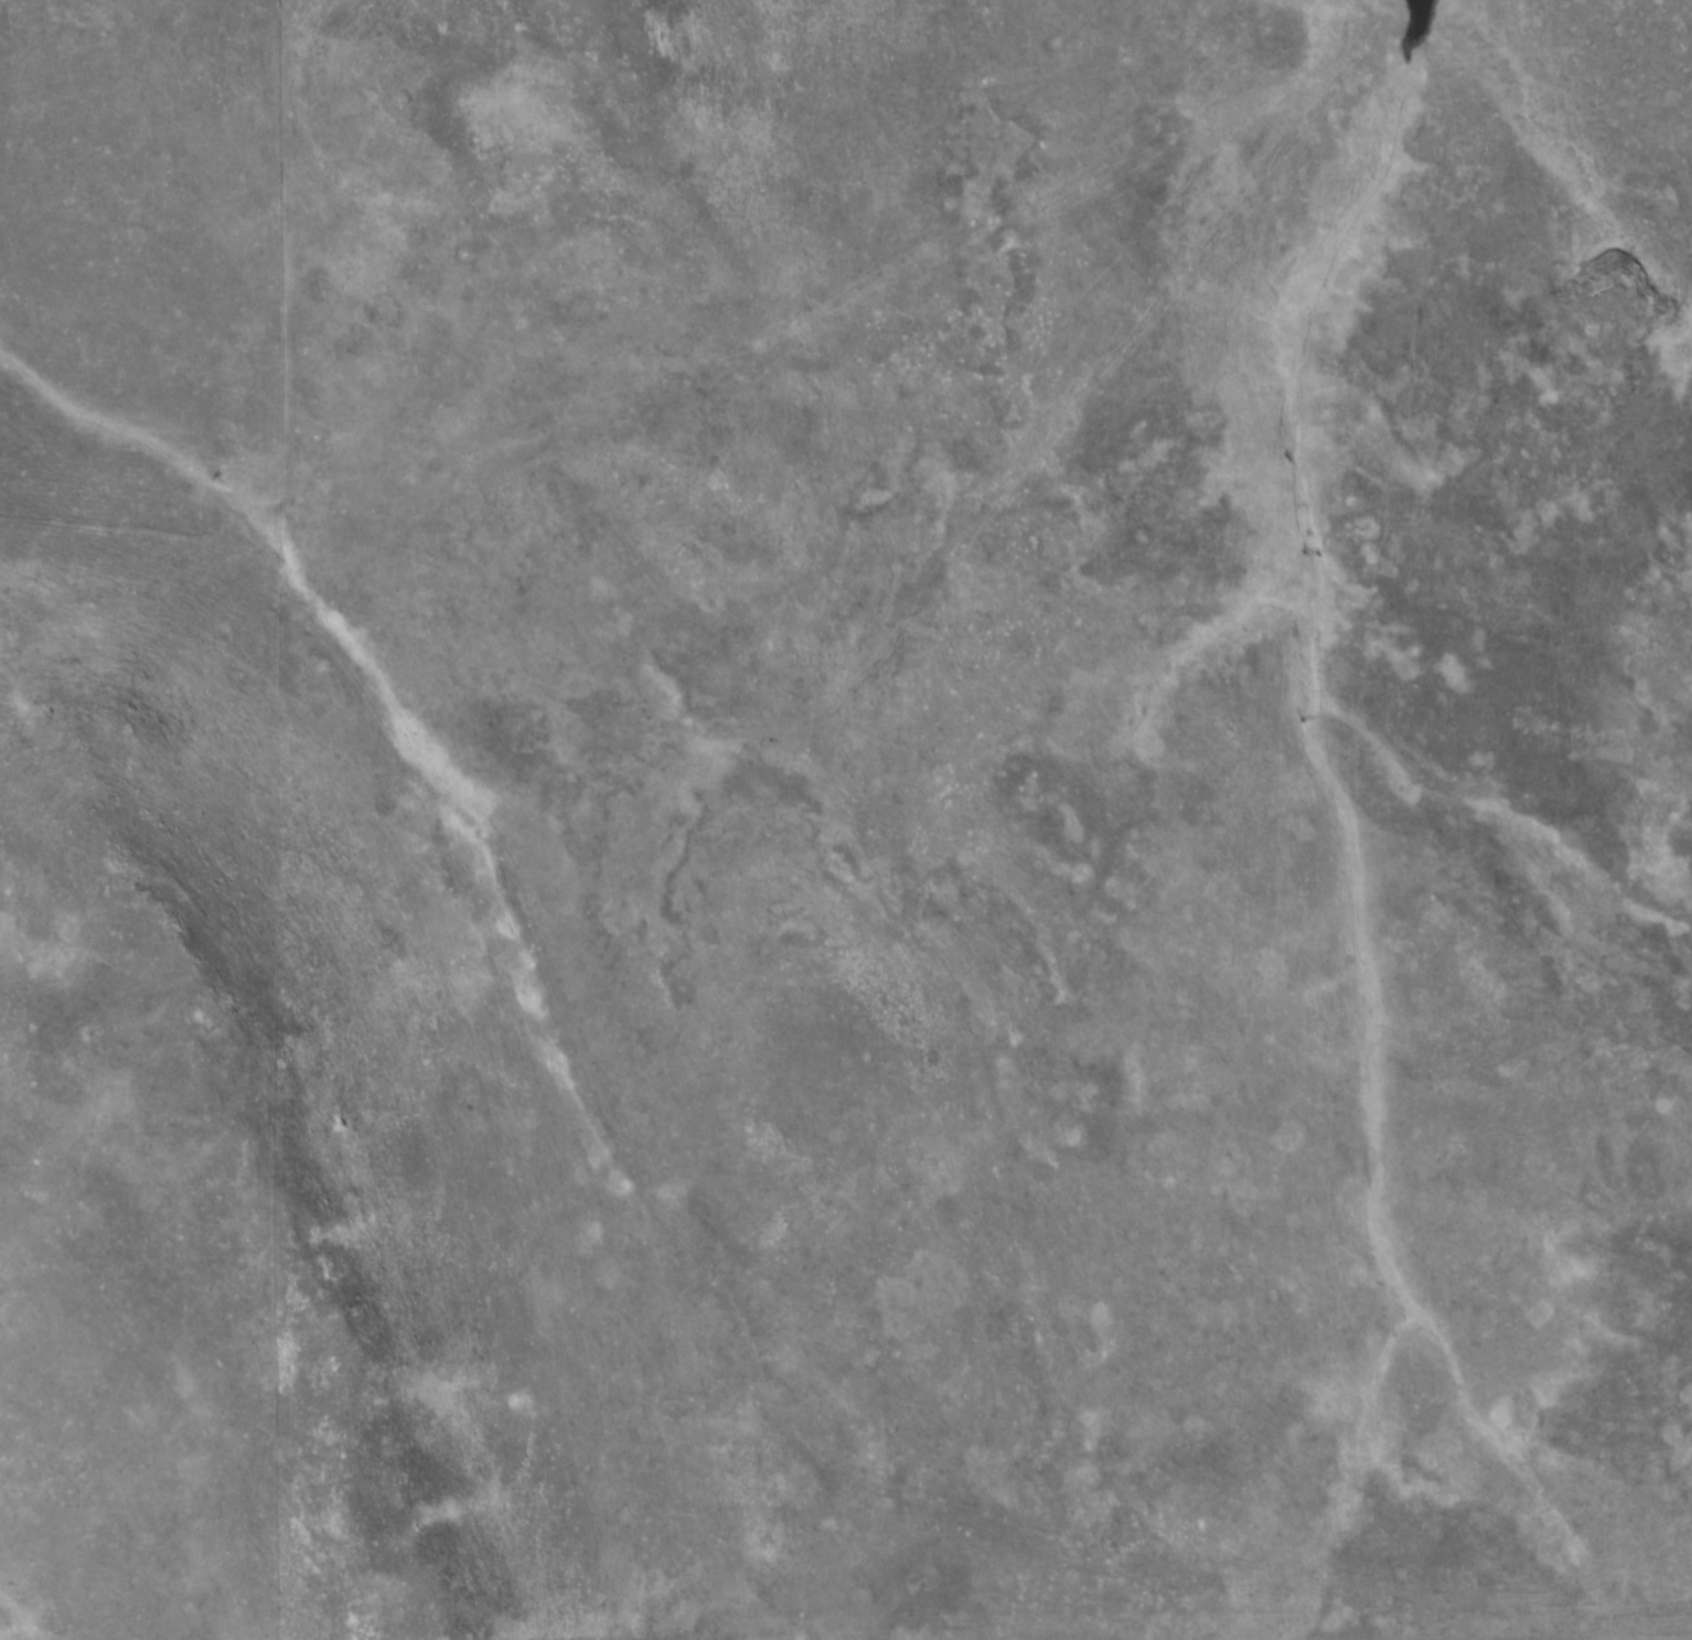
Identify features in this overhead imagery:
road: (703, 1237)

